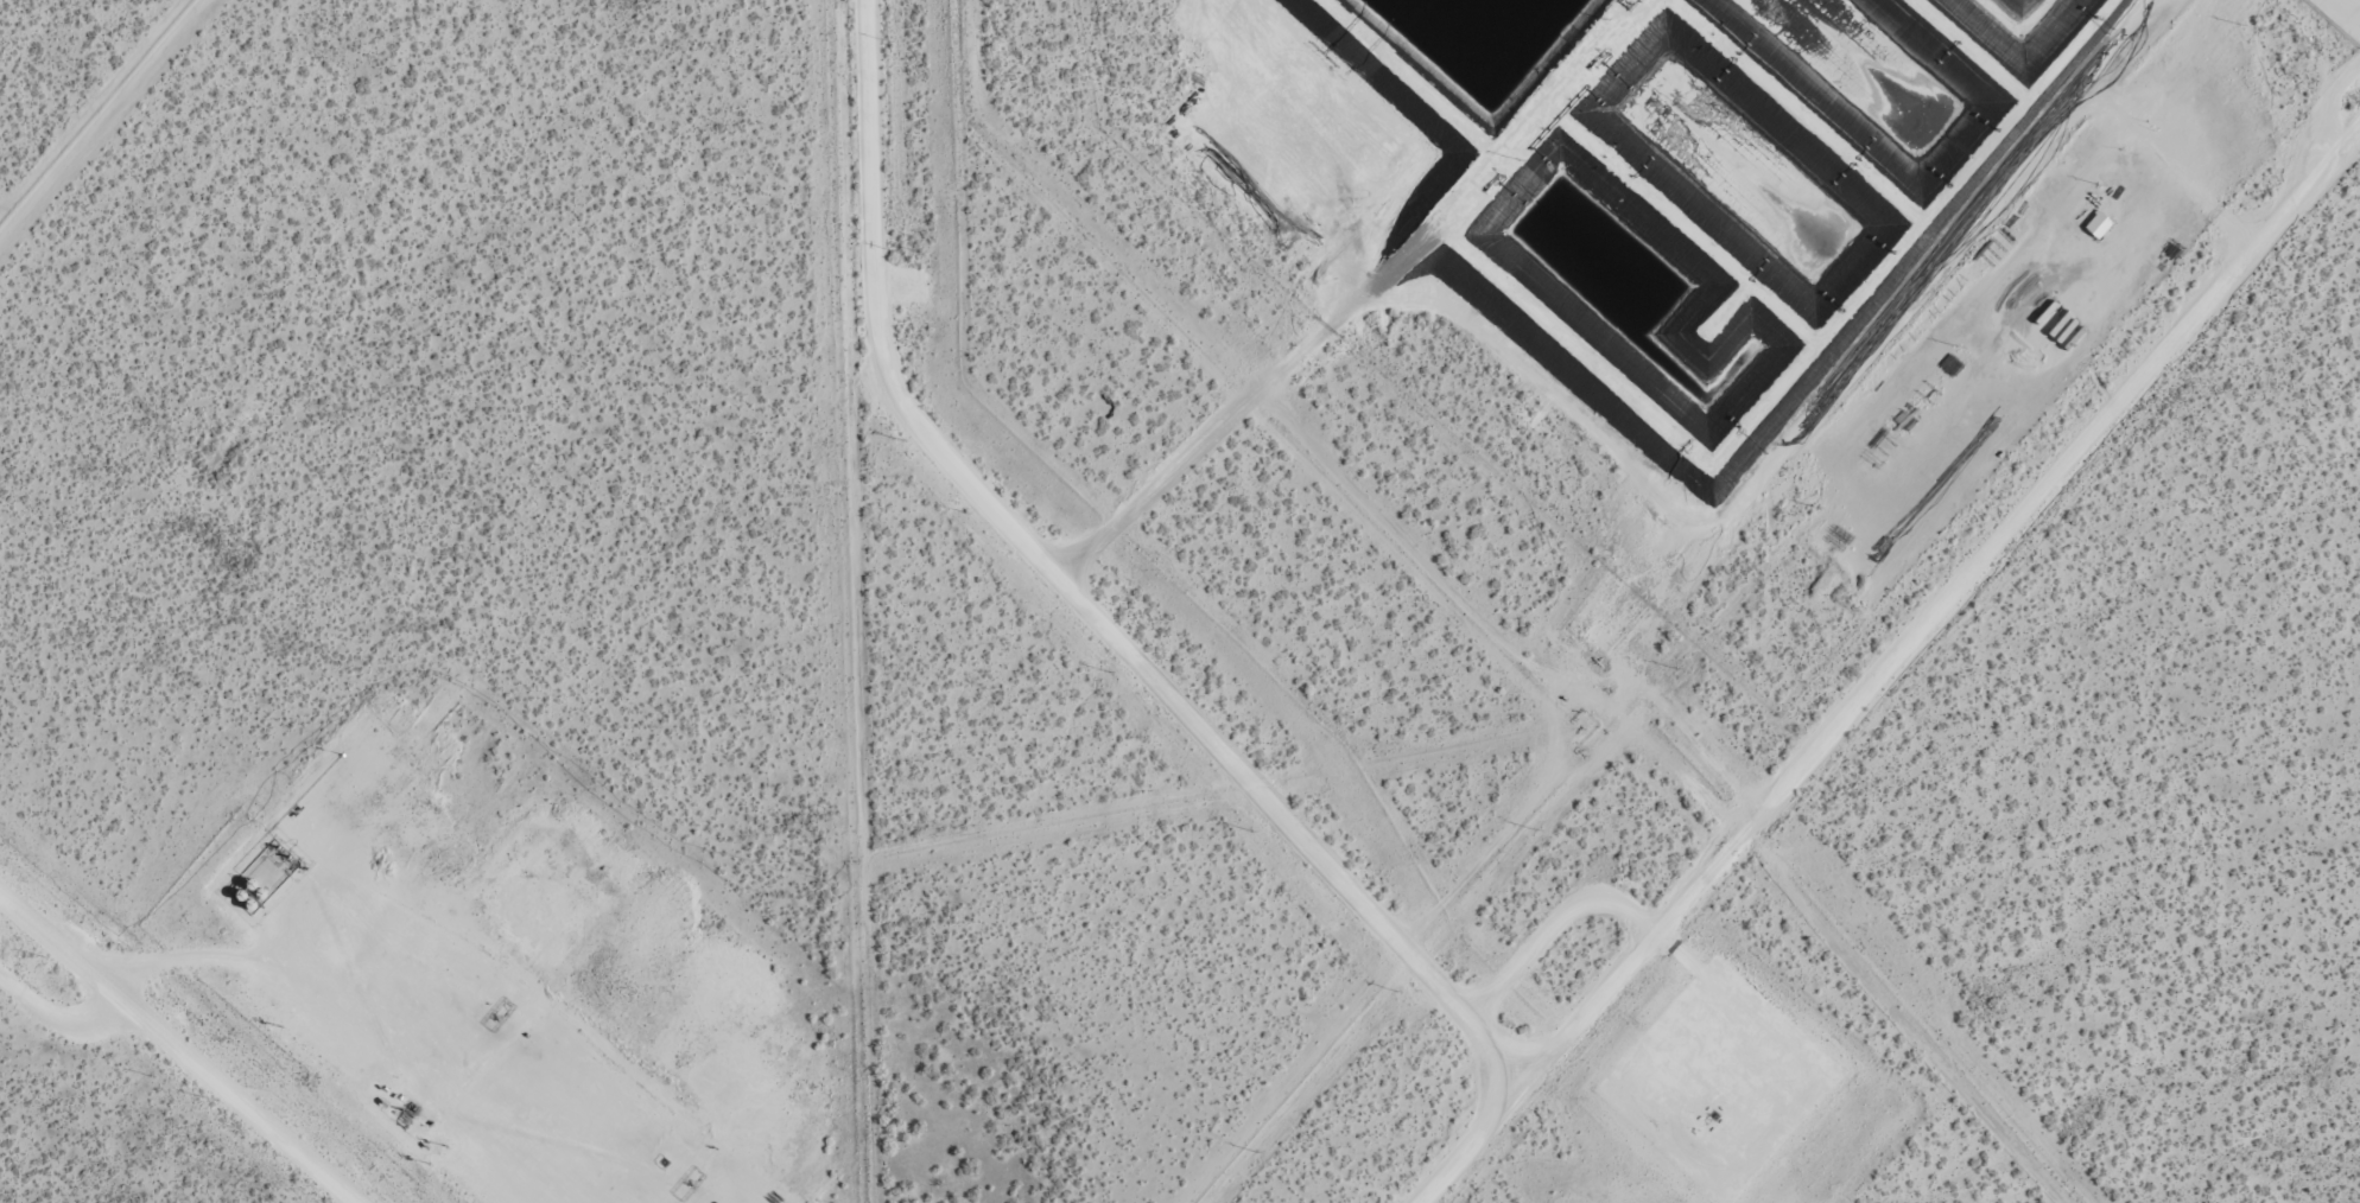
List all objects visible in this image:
road: (1073, 594)
road: (1893, 668)
road: (1562, 912)
road: (129, 947)
road: (189, 959)
road: (59, 1007)
road: (178, 1048)

